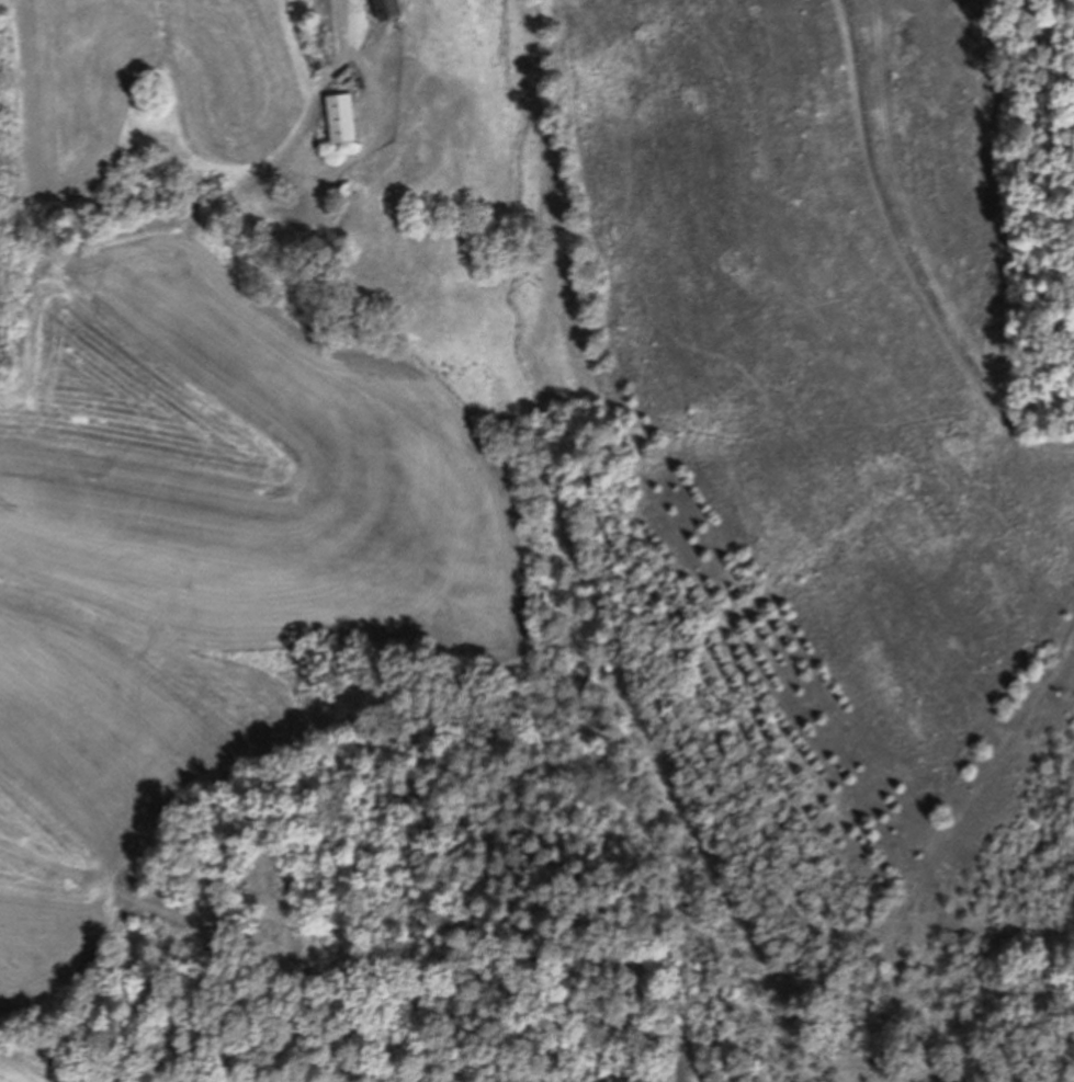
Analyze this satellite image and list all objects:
building: (387, 10)
building: (342, 118)

